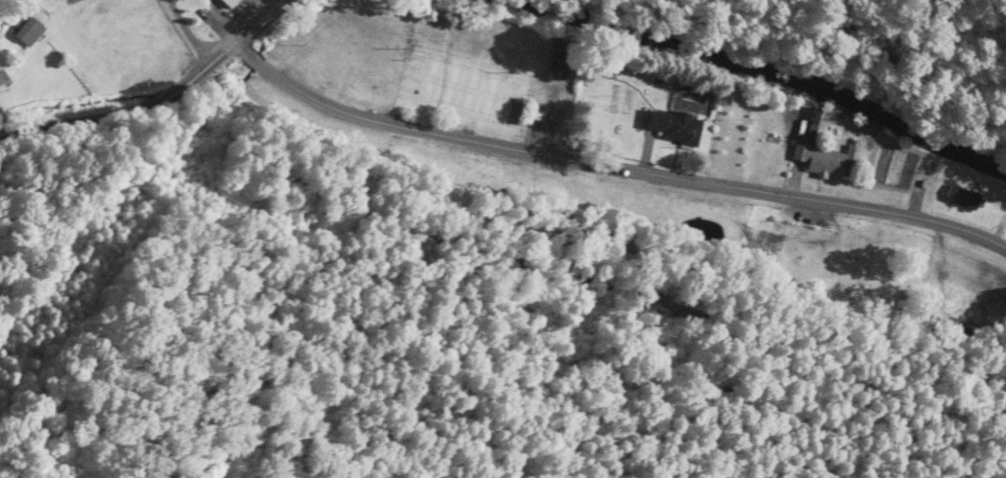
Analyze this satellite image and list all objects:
building: (234, 3)
building: (97, 21)
building: (29, 28)
road: (189, 31)
building: (563, 58)
road: (151, 98)
building: (522, 110)
building: (676, 125)
building: (747, 148)
building: (827, 153)
road: (610, 165)
building: (959, 197)

